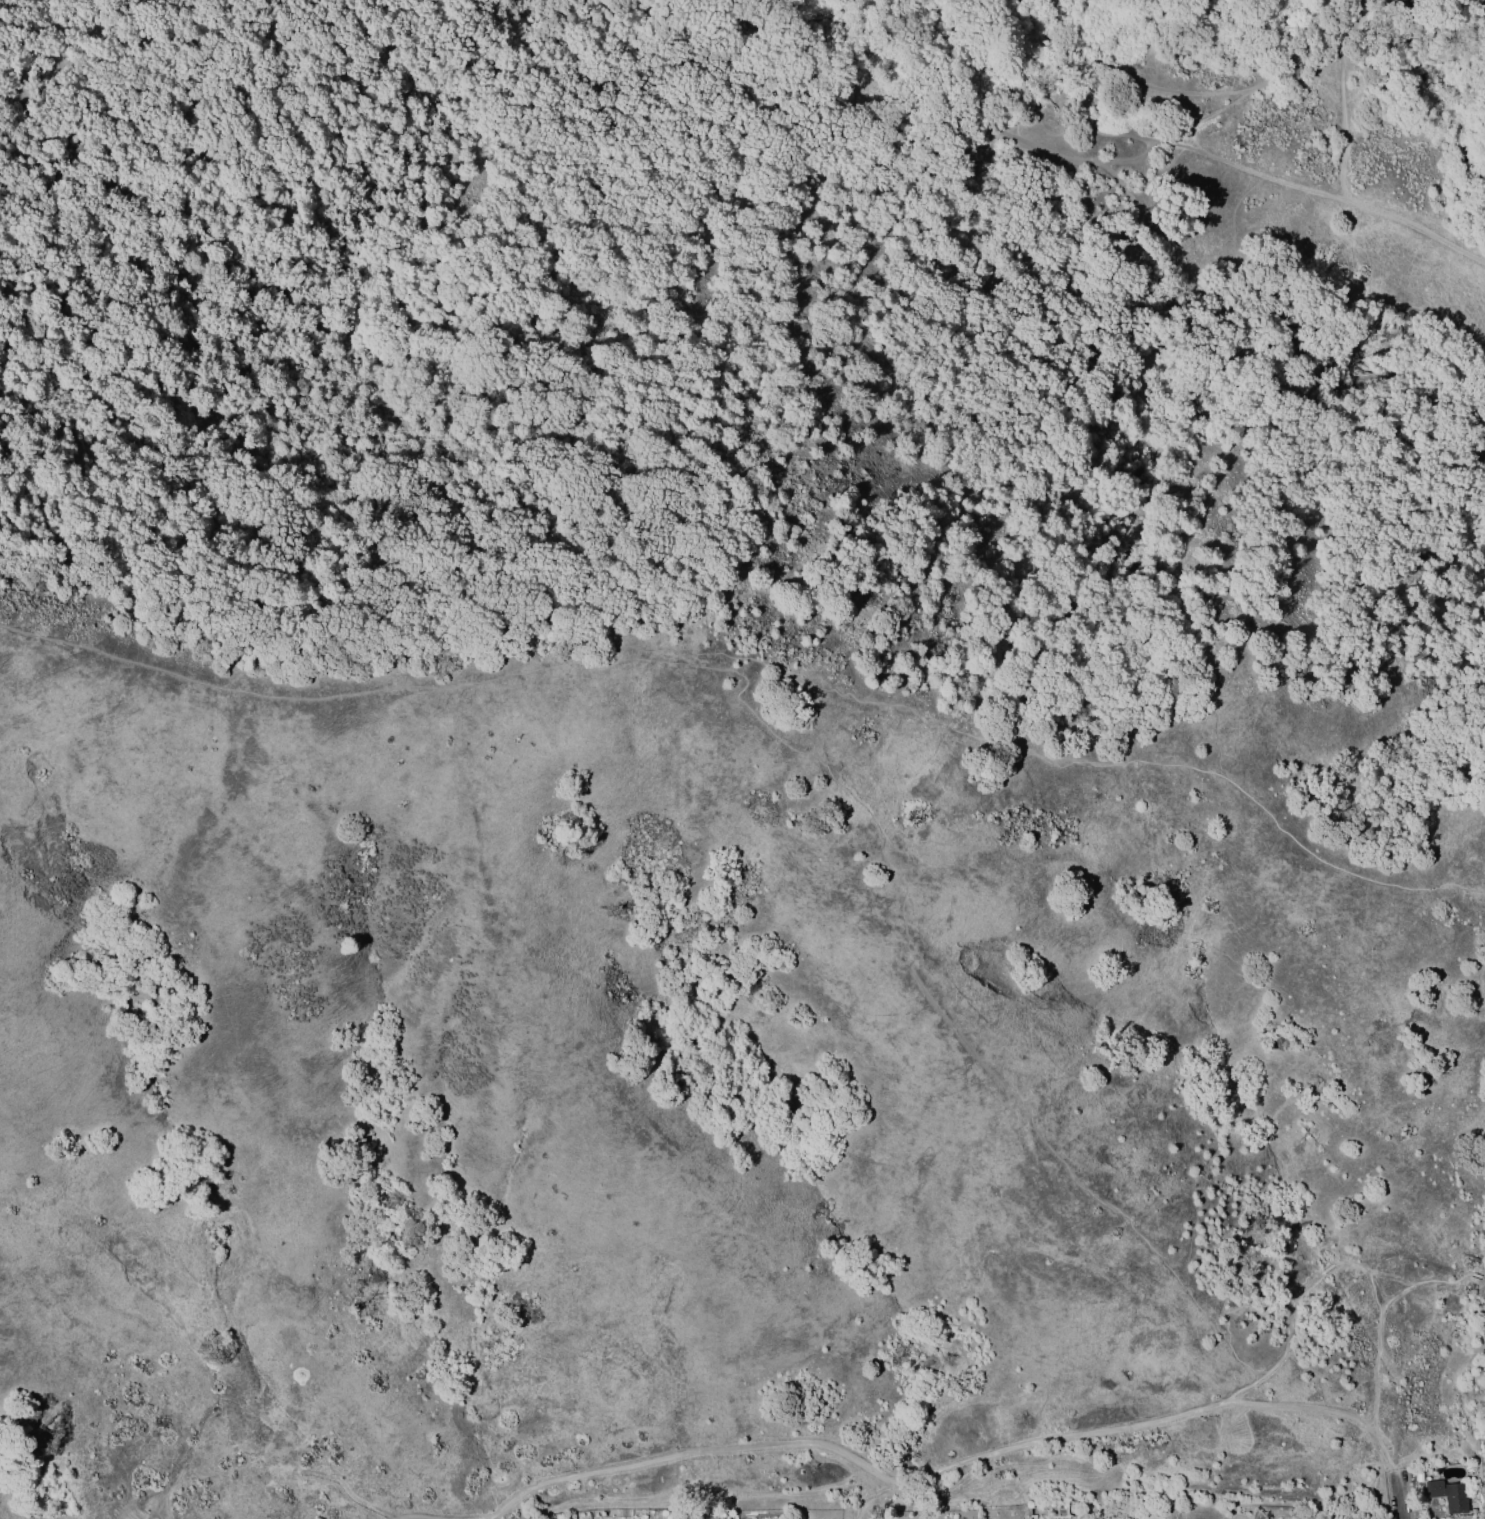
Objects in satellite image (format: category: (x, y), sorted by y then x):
road: (499, 0)
road: (1354, 15)
road: (1350, 32)
road: (1344, 46)
river: (1386, 50)
road: (1012, 60)
road: (1031, 161)
road: (1354, 196)
park: (738, 748)
road: (1323, 1282)
road: (1325, 1412)
road: (804, 1440)
road: (876, 1494)
building: (1450, 1495)
road: (1397, 1498)
road: (488, 1517)

